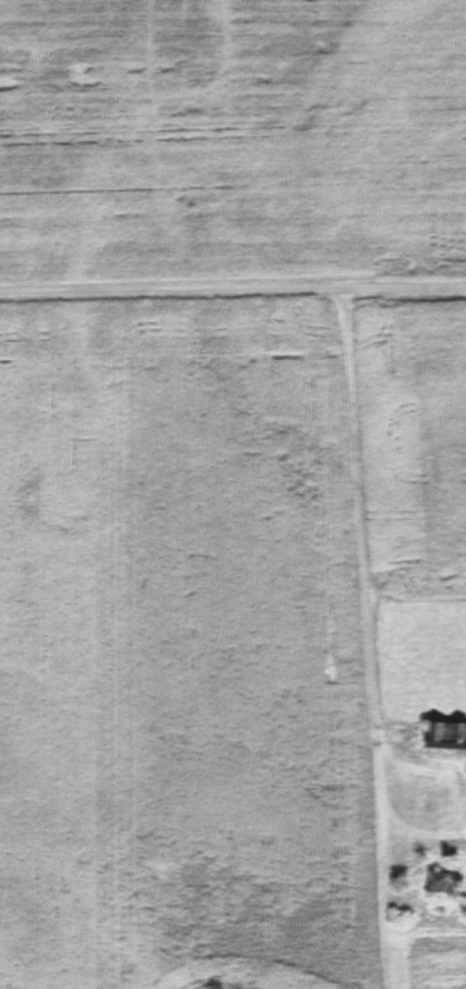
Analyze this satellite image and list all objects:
road: (233, 291)
building: (448, 740)
building: (439, 881)
road: (394, 949)

